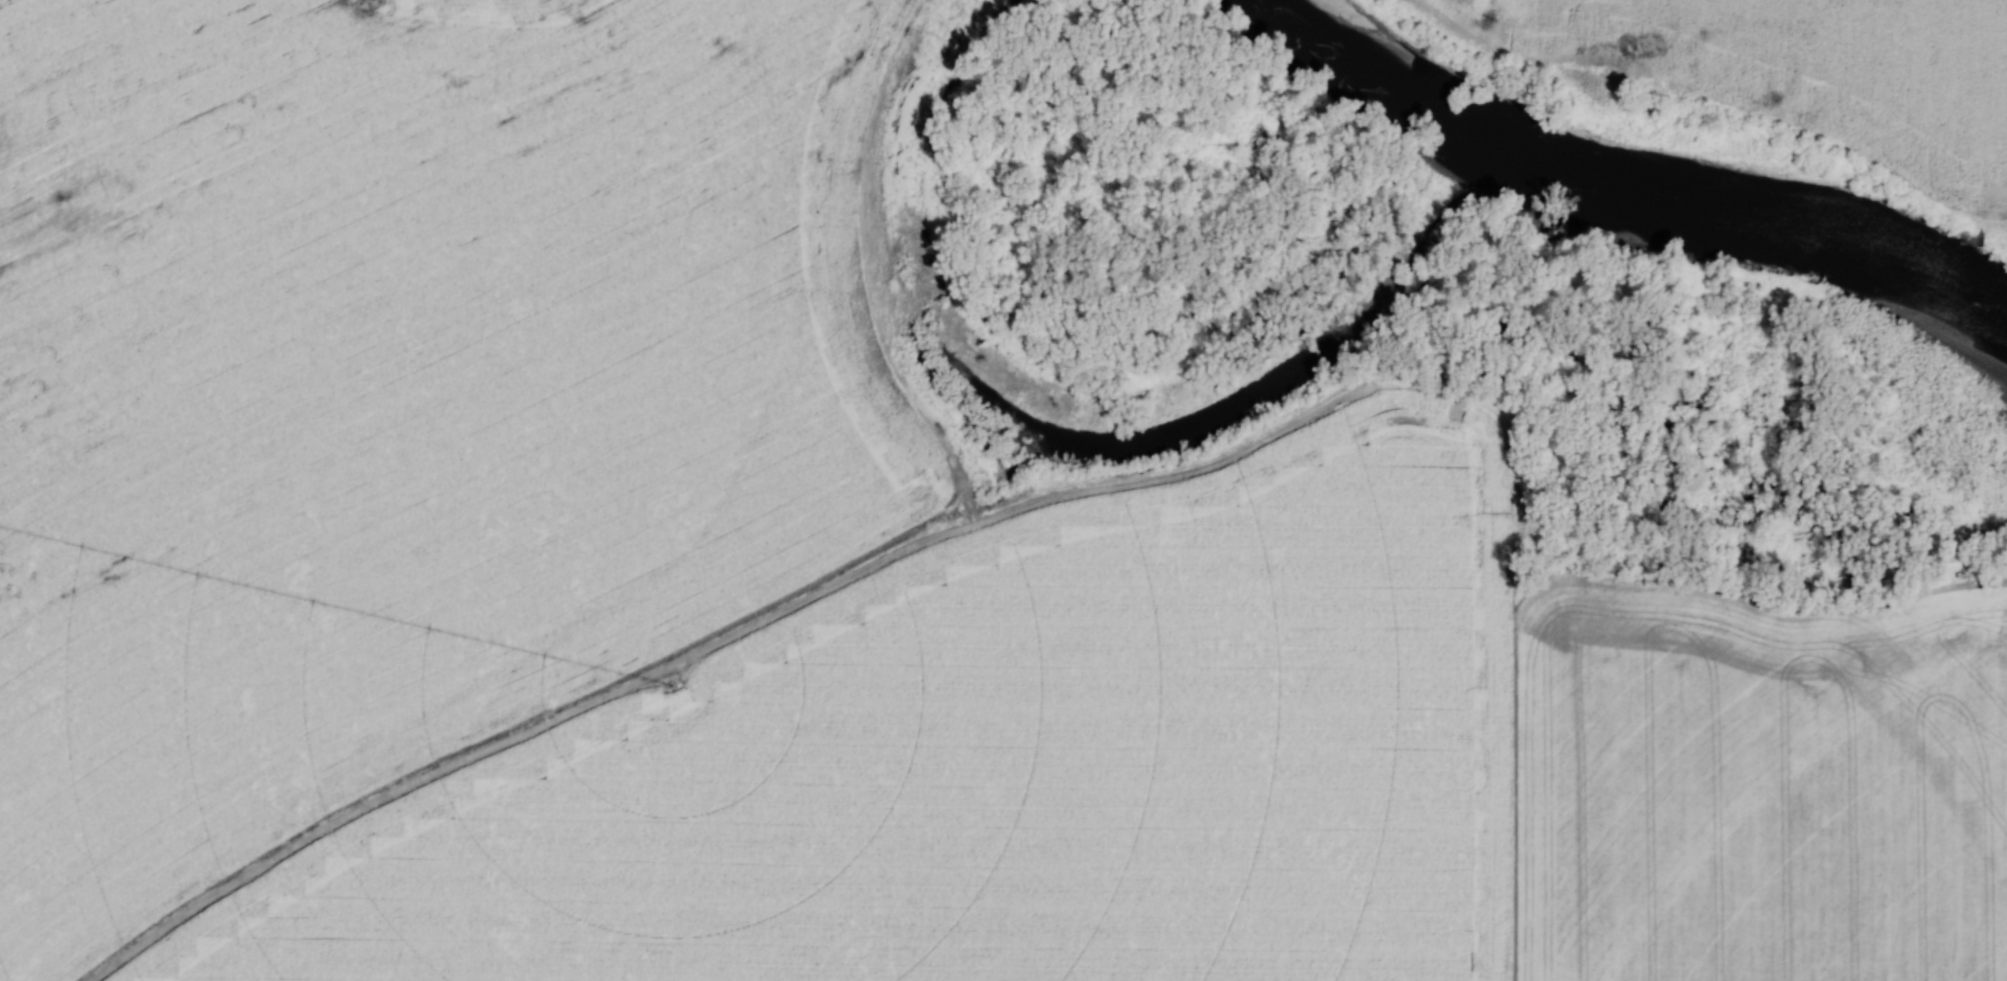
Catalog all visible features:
river: (1656, 195)
road: (760, 617)

